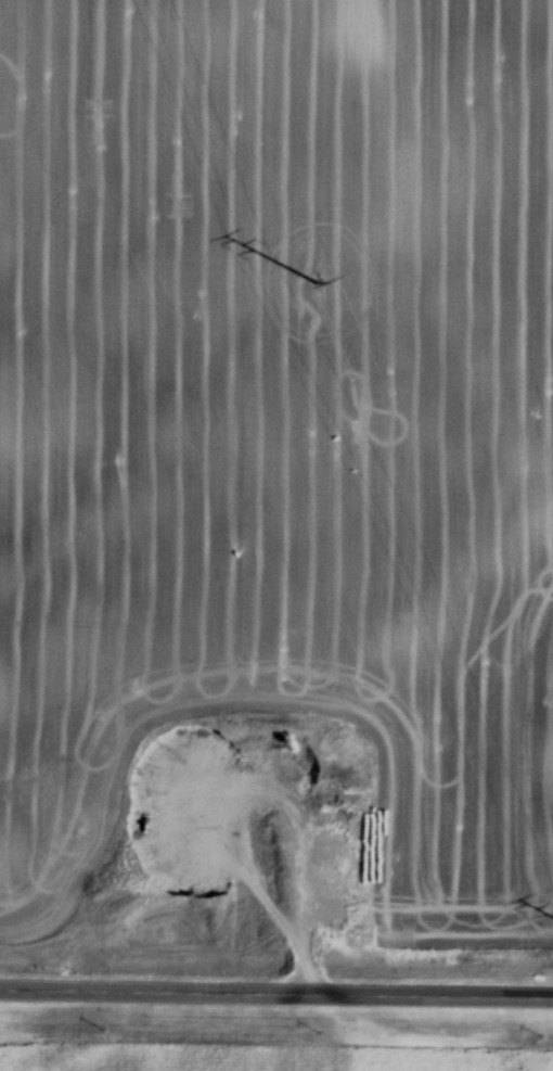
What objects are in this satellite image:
power tower: (319, 288)
road: (276, 994)

